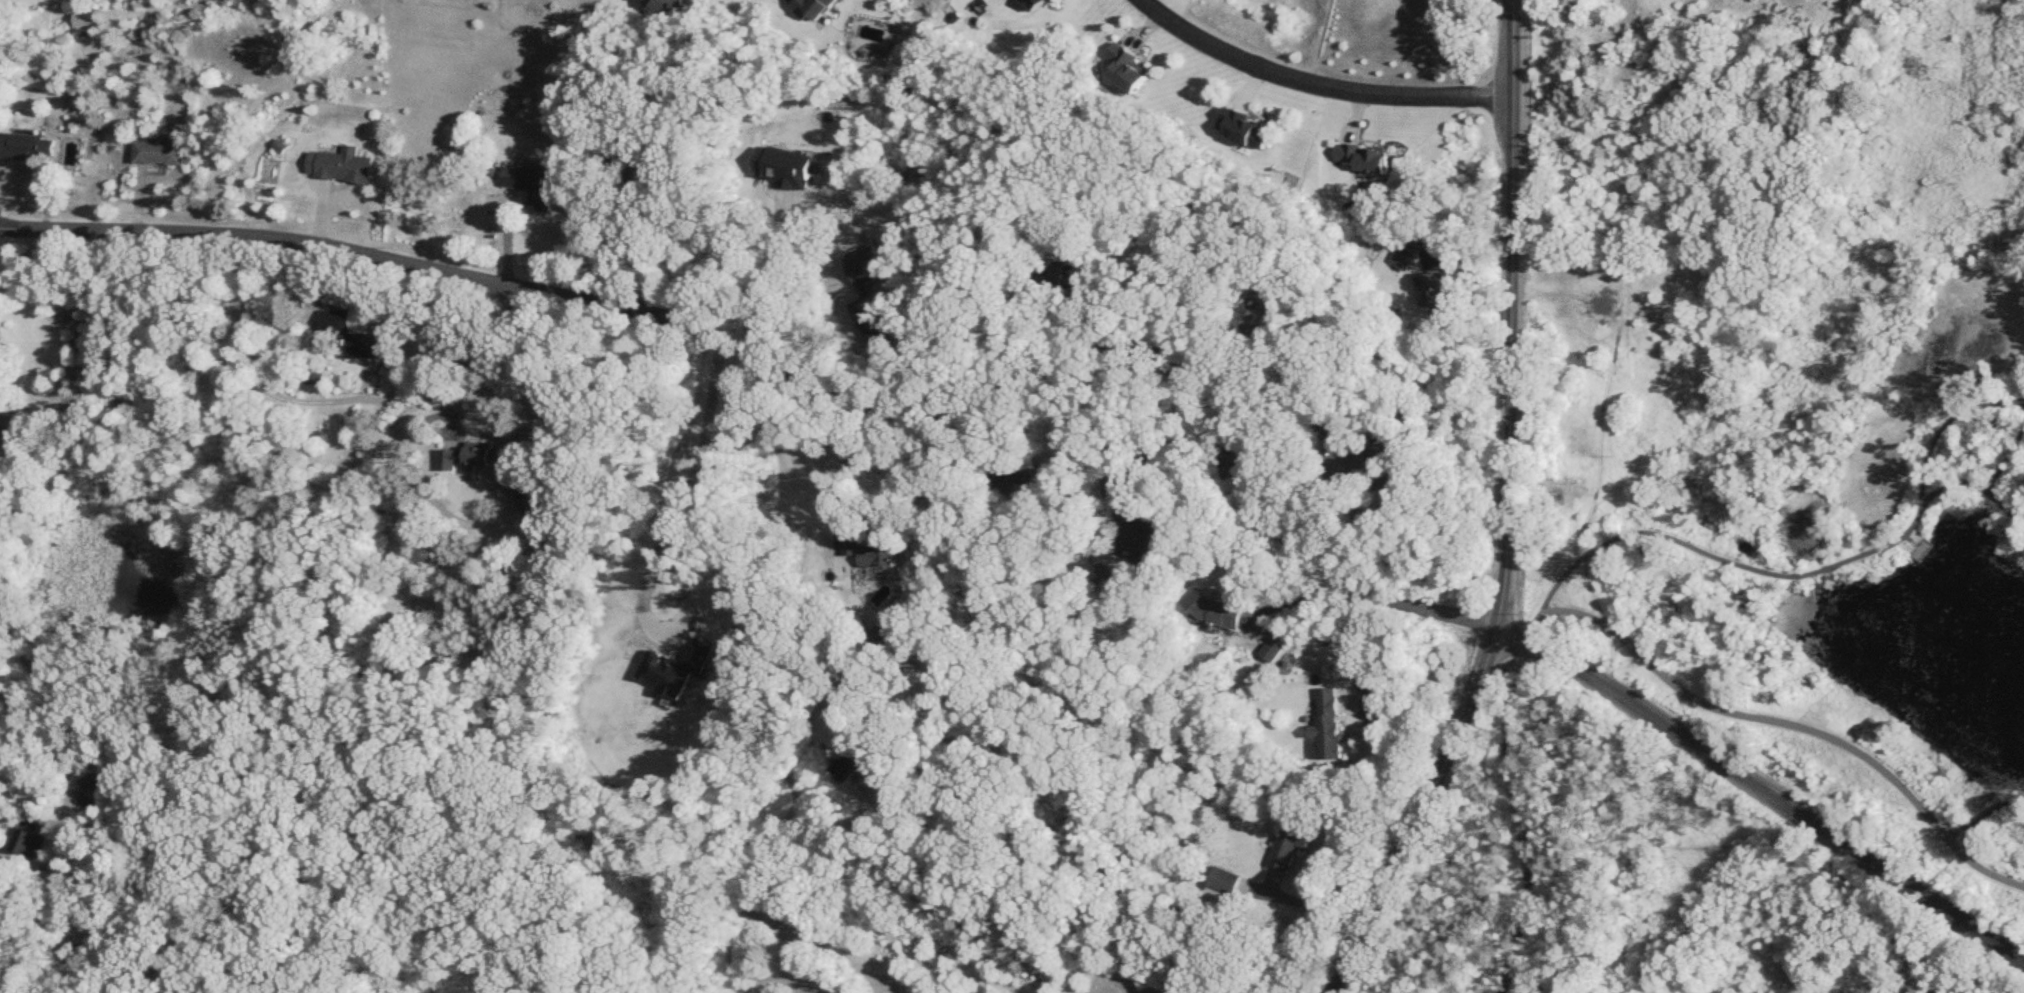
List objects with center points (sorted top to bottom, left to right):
building: (1032, 4)
building: (656, 7)
building: (806, 8)
building: (78, 20)
building: (1127, 69)
road: (1324, 84)
building: (1241, 129)
building: (26, 148)
building: (157, 152)
building: (344, 167)
building: (527, 180)
road: (601, 202)
building: (1402, 258)
building: (871, 270)
building: (1067, 277)
building: (1438, 290)
road: (809, 313)
building: (873, 321)
building: (1257, 324)
road: (773, 325)
building: (0, 328)
building: (358, 337)
road: (492, 348)
road: (1097, 353)
road: (248, 365)
road: (120, 399)
road: (1945, 424)
building: (1332, 426)
road: (1163, 440)
building: (479, 460)
road: (684, 461)
road: (2006, 462)
building: (1383, 465)
road: (842, 475)
building: (1035, 477)
road: (1510, 514)
park: (1769, 523)
road: (1909, 538)
road: (1917, 545)
road: (784, 546)
road: (1922, 550)
building: (872, 554)
road: (1399, 561)
road: (1789, 575)
road: (1294, 600)
building: (1217, 612)
road: (1623, 642)
building: (1330, 726)
road: (1384, 753)
building: (853, 769)
road: (24, 778)
road: (1983, 814)
building: (24, 844)
building: (1292, 846)
building: (1224, 887)
road: (1310, 905)
park: (767, 969)

